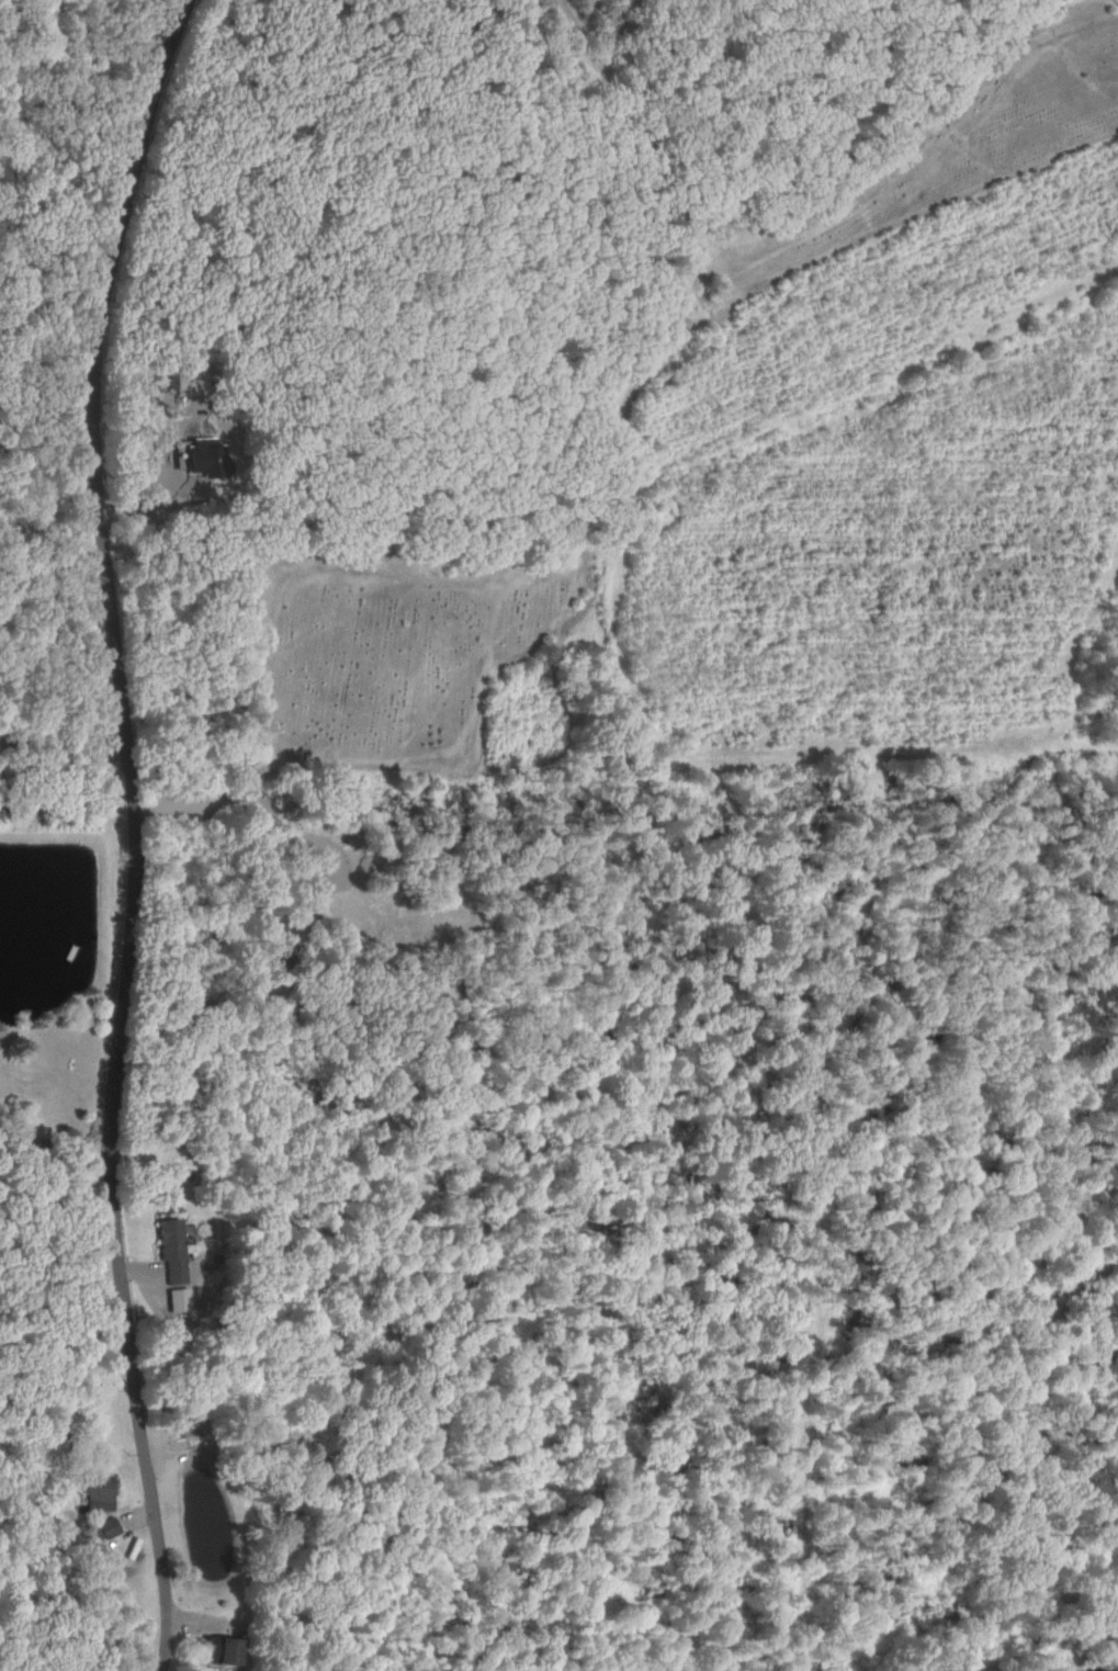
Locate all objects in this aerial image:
building: (184, 382)
building: (204, 456)
road: (106, 829)
road: (45, 1154)
building: (169, 1249)
building: (97, 1490)
building: (106, 1526)
building: (93, 1534)
building: (217, 1649)

